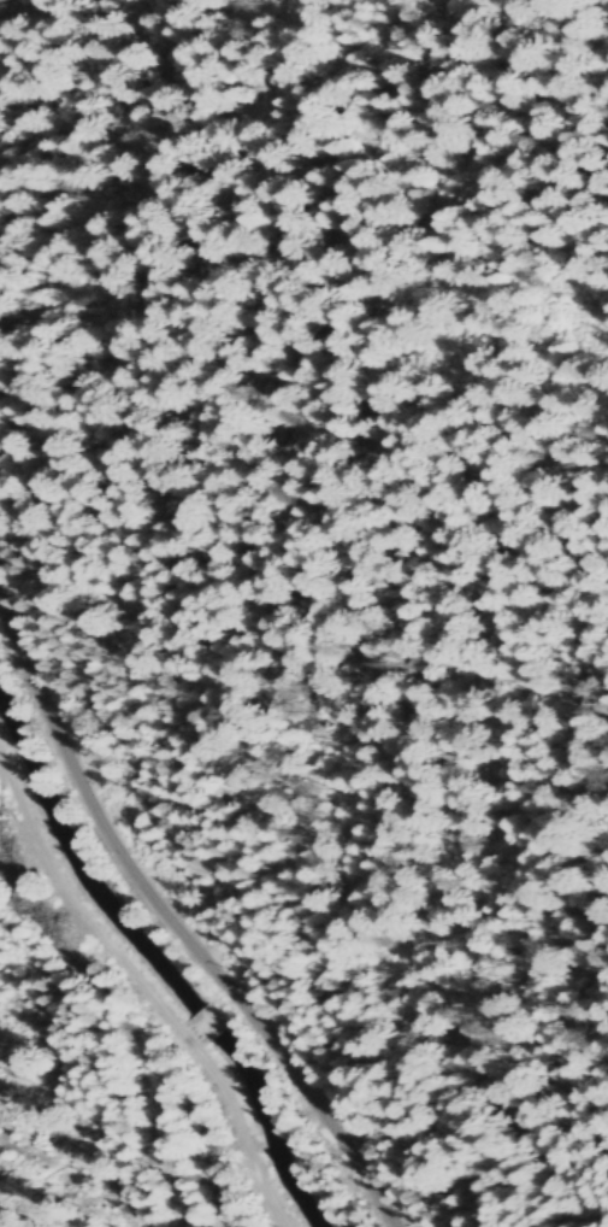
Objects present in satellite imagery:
road: (179, 923)
road: (146, 986)
road: (216, 1018)

